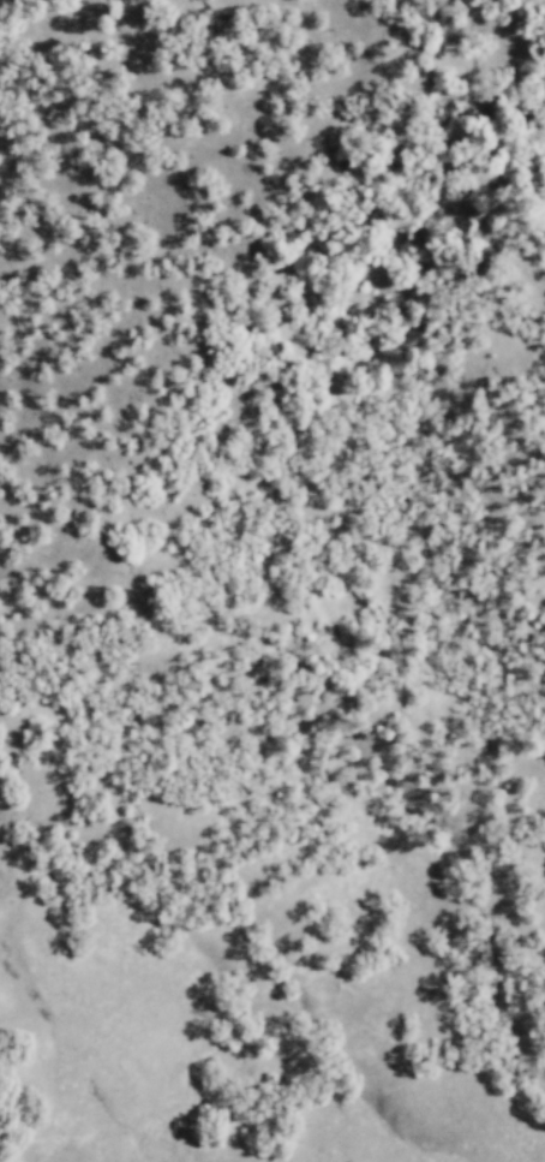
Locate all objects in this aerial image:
road: (239, 190)

